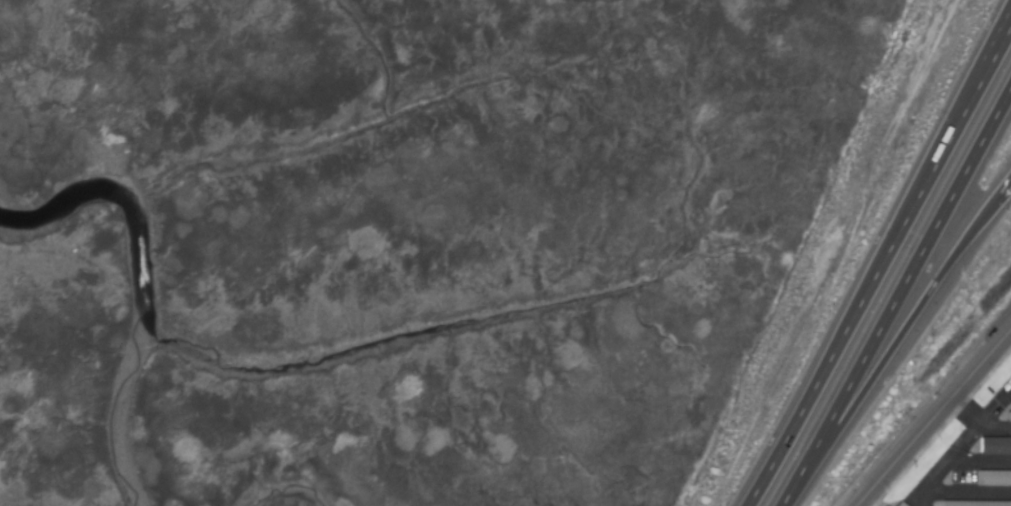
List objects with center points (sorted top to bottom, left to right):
road: (985, 56)
road: (1005, 188)
road: (880, 265)
road: (897, 295)
road: (890, 348)
road: (1010, 393)
road: (996, 407)
road: (966, 410)
road: (932, 416)
building: (1009, 416)
road: (994, 431)
building: (996, 446)
road: (981, 461)
building: (994, 478)
road: (922, 492)
road: (782, 505)

